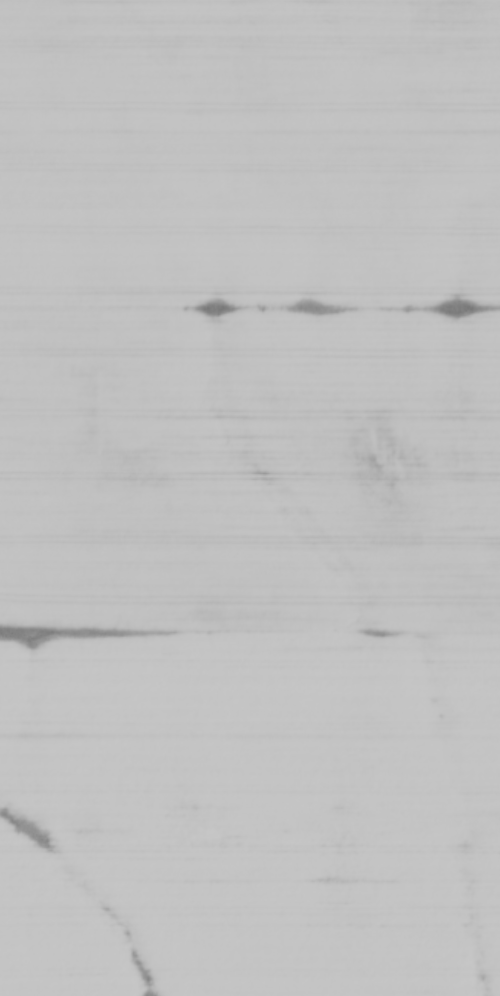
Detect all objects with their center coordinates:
crop: (250, 498)

